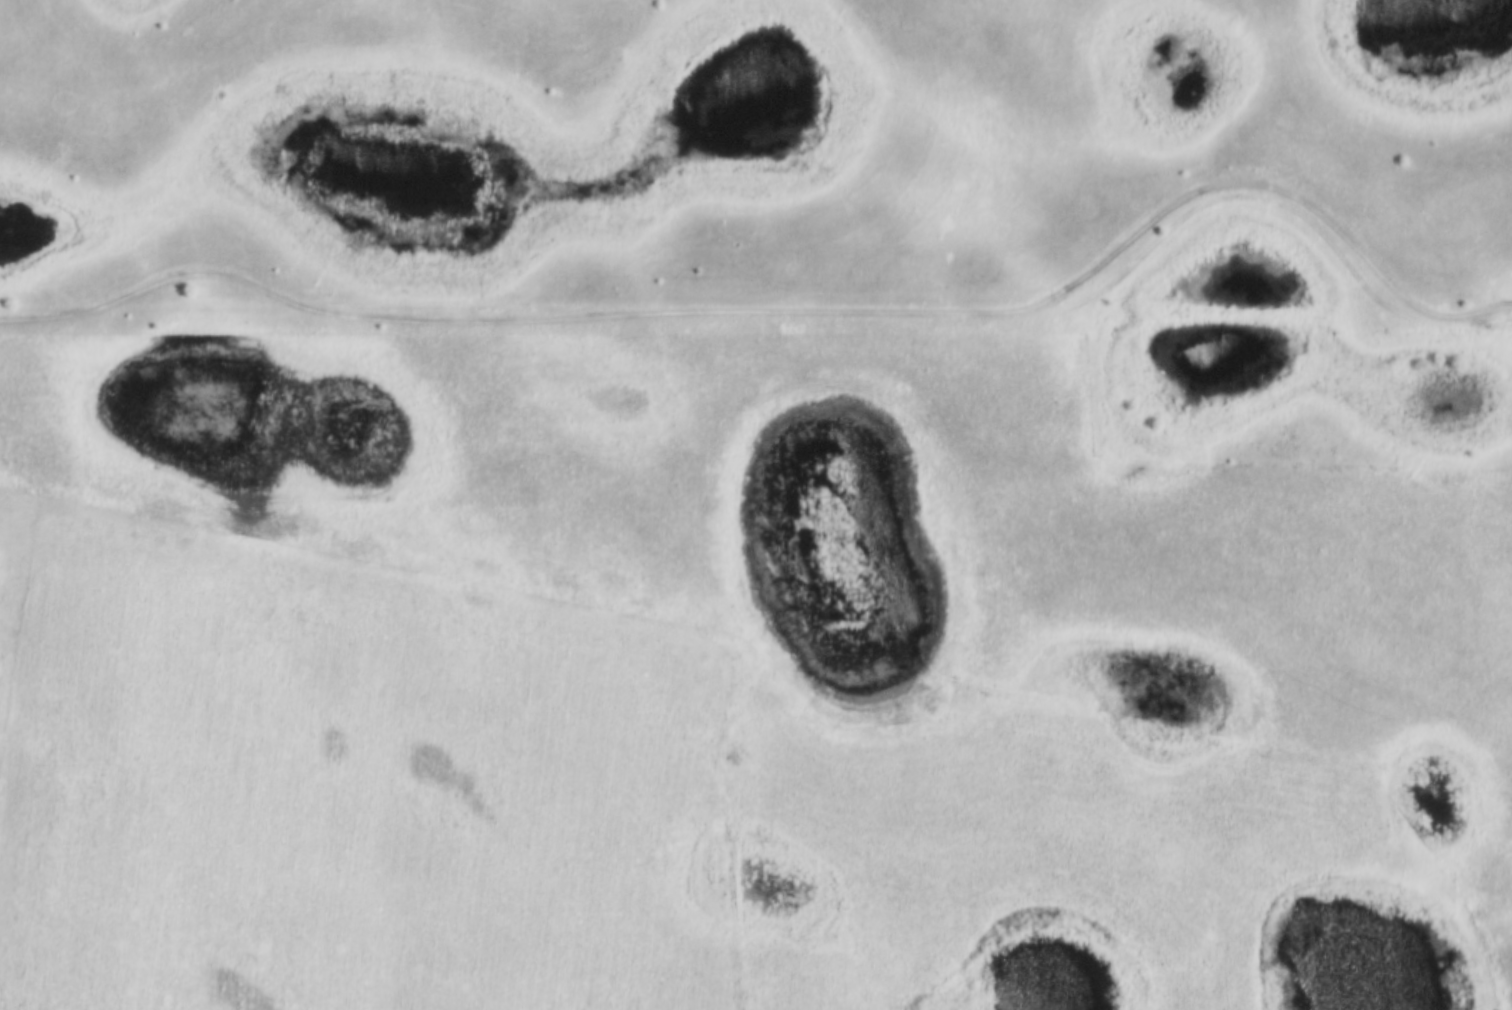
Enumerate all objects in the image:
road: (798, 316)

